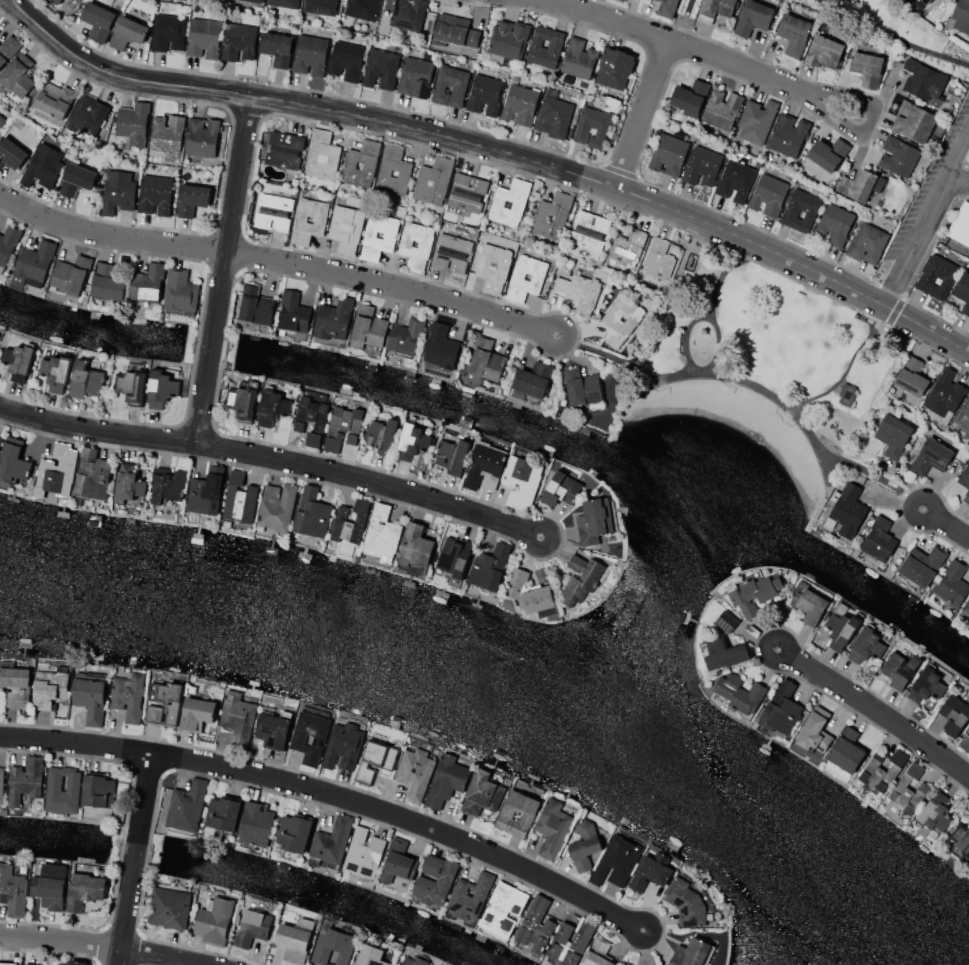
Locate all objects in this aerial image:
building: (409, 0)
building: (621, 0)
building: (56, 1)
building: (253, 1)
building: (925, 1)
building: (284, 3)
building: (321, 7)
building: (667, 8)
building: (362, 9)
building: (715, 9)
building: (408, 14)
building: (960, 16)
building: (754, 17)
building: (98, 21)
road: (683, 22)
building: (456, 31)
building: (127, 32)
building: (168, 32)
building: (793, 33)
park: (889, 33)
building: (204, 37)
building: (509, 38)
road: (892, 38)
building: (239, 41)
building: (545, 46)
building: (277, 47)
building: (8, 48)
building: (824, 51)
building: (310, 54)
road: (660, 55)
road: (703, 56)
building: (579, 59)
building: (346, 60)
road: (709, 67)
building: (867, 67)
building: (381, 68)
building: (615, 68)
building: (18, 75)
building: (416, 75)
building: (924, 79)
building: (459, 87)
building: (486, 92)
building: (690, 97)
building: (52, 105)
building: (520, 105)
building: (722, 108)
road: (247, 112)
building: (88, 114)
road: (642, 116)
building: (554, 117)
building: (2, 119)
building: (756, 120)
building: (913, 122)
building: (133, 123)
road: (466, 127)
building: (592, 127)
building: (167, 133)
building: (788, 135)
building: (201, 136)
building: (284, 149)
road: (496, 151)
road: (226, 152)
building: (11, 153)
building: (828, 153)
building: (321, 154)
building: (668, 154)
building: (899, 156)
road: (956, 158)
building: (369, 165)
building: (43, 166)
building: (395, 166)
building: (702, 166)
road: (620, 169)
building: (76, 179)
building: (433, 180)
building: (736, 180)
road: (956, 184)
building: (860, 185)
building: (118, 191)
building: (467, 192)
building: (155, 194)
building: (768, 194)
building: (192, 198)
building: (510, 202)
building: (800, 210)
building: (272, 212)
building: (552, 216)
building: (301, 222)
building: (835, 224)
building: (960, 225)
building: (346, 227)
building: (589, 231)
building: (378, 240)
building: (867, 243)
road: (911, 243)
building: (8, 245)
building: (628, 248)
building: (413, 250)
building: (451, 253)
building: (659, 259)
road: (278, 262)
road: (204, 264)
building: (33, 265)
building: (493, 267)
road: (223, 269)
road: (723, 272)
building: (937, 276)
building: (68, 277)
building: (525, 277)
building: (107, 282)
building: (149, 284)
building: (580, 290)
building: (180, 291)
building: (963, 291)
building: (256, 305)
road: (894, 310)
building: (293, 312)
road: (706, 313)
building: (624, 315)
building: (333, 318)
road: (469, 320)
building: (368, 326)
road: (198, 329)
building: (405, 337)
building: (440, 347)
road: (613, 353)
building: (18, 359)
building: (486, 360)
road: (848, 366)
building: (56, 372)
road: (724, 373)
park: (772, 373)
building: (534, 379)
building: (910, 379)
building: (85, 380)
building: (130, 386)
building: (581, 386)
building: (161, 388)
building: (847, 394)
building: (945, 394)
building: (243, 401)
building: (273, 404)
building: (963, 416)
building: (298, 424)
road: (196, 425)
building: (343, 427)
building: (382, 435)
building: (893, 435)
building: (0, 439)
building: (412, 441)
building: (452, 453)
building: (932, 456)
road: (272, 457)
road: (852, 459)
building: (13, 460)
building: (485, 466)
building: (56, 471)
building: (92, 474)
building: (964, 476)
building: (522, 480)
building: (128, 483)
building: (167, 485)
building: (561, 489)
building: (206, 492)
building: (967, 492)
road: (939, 495)
building: (239, 498)
building: (277, 507)
building: (846, 510)
building: (311, 513)
building: (594, 520)
building: (350, 521)
road: (945, 524)
road: (919, 531)
building: (381, 532)
building: (880, 540)
building: (415, 544)
building: (449, 555)
building: (923, 566)
building: (489, 567)
building: (581, 578)
building: (952, 583)
building: (753, 591)
building: (530, 594)
building: (810, 602)
building: (965, 614)
building: (727, 620)
building: (842, 625)
building: (869, 643)
road: (754, 644)
building: (725, 653)
building: (899, 669)
building: (929, 682)
building: (50, 685)
building: (16, 686)
building: (739, 694)
building: (90, 695)
building: (128, 696)
building: (163, 703)
building: (781, 708)
road: (872, 711)
building: (197, 713)
building: (954, 715)
building: (238, 717)
building: (274, 728)
building: (815, 730)
building: (298, 740)
building: (964, 743)
building: (343, 746)
building: (844, 755)
building: (376, 759)
building: (881, 770)
building: (414, 773)
building: (26, 780)
building: (446, 780)
building: (53, 783)
building: (1, 784)
building: (909, 789)
building: (98, 790)
building: (479, 792)
road: (331, 794)
building: (187, 806)
building: (223, 813)
building: (528, 814)
building: (932, 815)
building: (255, 824)
building: (554, 826)
building: (293, 832)
building: (961, 838)
building: (331, 841)
building: (585, 844)
building: (363, 852)
road: (134, 859)
building: (618, 859)
building: (398, 866)
building: (652, 870)
building: (444, 880)
building: (398, 882)
building: (50, 886)
building: (12, 890)
building: (84, 890)
building: (470, 895)
building: (686, 902)
building: (169, 908)
building: (503, 908)
building: (213, 920)
building: (536, 924)
building: (252, 927)
building: (292, 942)
building: (570, 942)
building: (334, 946)
road: (104, 947)
building: (598, 953)
building: (692, 953)
building: (370, 955)
building: (414, 961)
building: (77, 962)
building: (9, 963)
building: (32, 963)
building: (625, 964)

